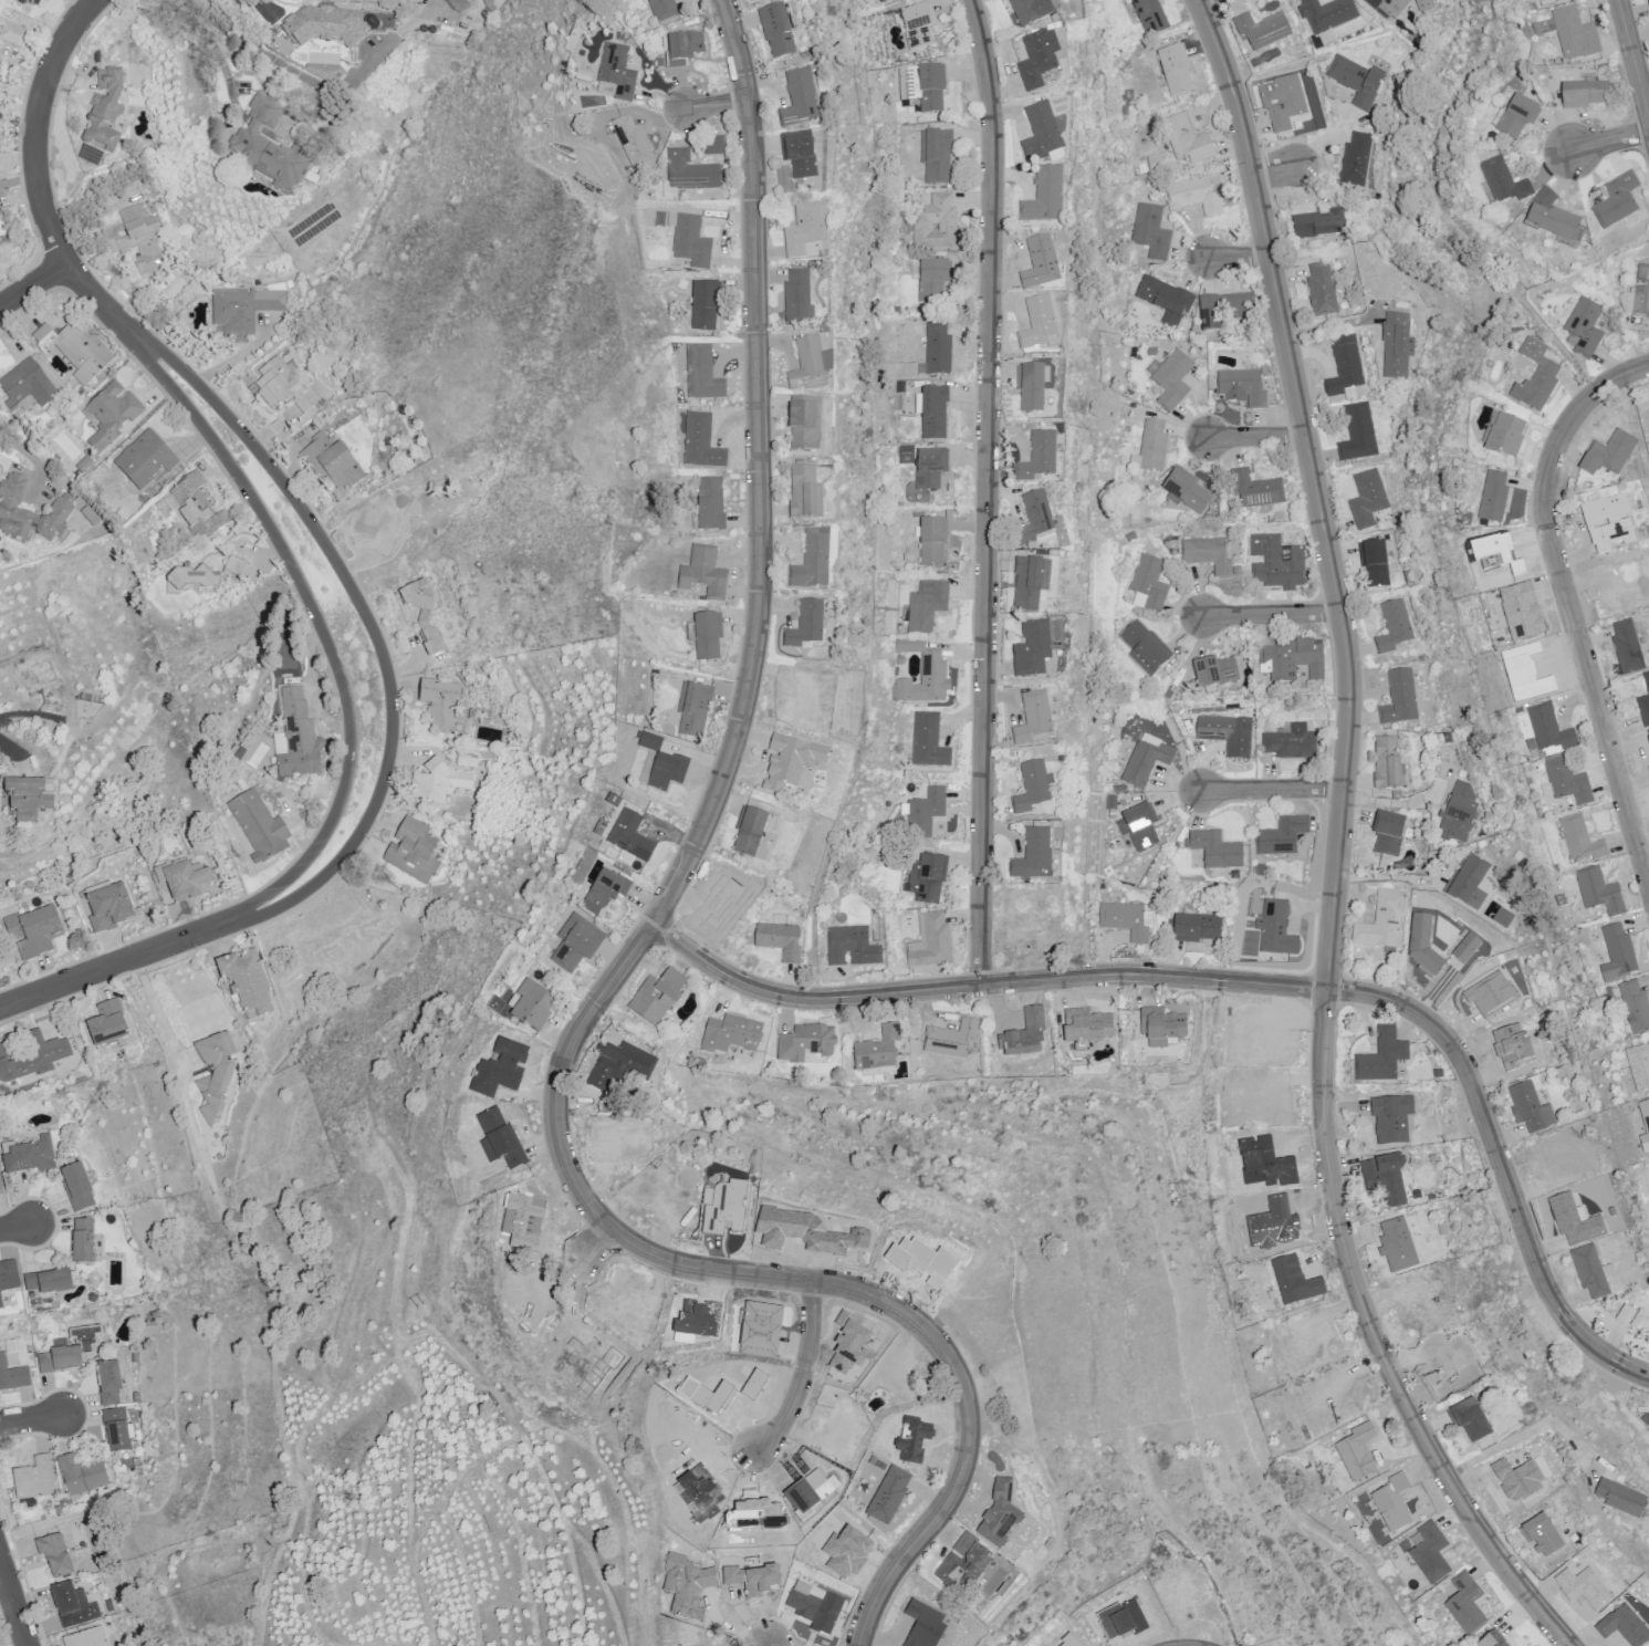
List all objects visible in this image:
building: (752, 0)
building: (874, 0)
building: (1544, 0)
building: (885, 1)
building: (1648, 1)
building: (29, 2)
road: (1203, 2)
building: (1427, 4)
building: (1390, 7)
building: (662, 9)
building: (1033, 11)
building: (1326, 14)
building: (1150, 15)
building: (917, 25)
building: (1544, 27)
building: (1262, 30)
building: (776, 31)
building: (325, 32)
building: (12, 35)
building: (1578, 35)
building: (620, 37)
building: (683, 49)
road: (1632, 60)
building: (1039, 61)
road: (283, 63)
building: (659, 63)
building: (1255, 63)
building: (617, 71)
building: (1175, 72)
building: (324, 74)
building: (1356, 80)
building: (922, 87)
road: (21, 91)
building: (1585, 94)
building: (800, 100)
building: (1283, 101)
road: (717, 108)
building: (104, 117)
building: (1517, 117)
building: (1041, 134)
building: (1188, 139)
road: (1609, 139)
building: (633, 144)
building: (710, 145)
building: (269, 149)
building: (936, 155)
building: (801, 157)
building: (1356, 159)
building: (1156, 163)
road: (1273, 168)
building: (690, 171)
building: (1504, 181)
road: (18, 183)
road: (38, 183)
building: (1193, 196)
building: (1045, 198)
building: (1617, 201)
building: (1552, 219)
building: (935, 223)
building: (1319, 223)
building: (804, 229)
building: (1150, 229)
building: (690, 239)
building: (136, 246)
road: (1238, 252)
building: (1041, 264)
building: (651, 269)
building: (932, 280)
road: (32, 282)
building: (654, 282)
building: (1322, 289)
building: (1643, 292)
building: (799, 298)
building: (1166, 300)
building: (705, 306)
building: (896, 306)
building: (1225, 310)
building: (242, 314)
building: (1039, 325)
building: (1585, 326)
building: (1397, 344)
building: (938, 347)
building: (1152, 351)
building: (75, 352)
building: (791, 363)
building: (811, 366)
building: (1345, 366)
building: (702, 375)
building: (1536, 376)
building: (1172, 381)
building: (28, 385)
building: (282, 386)
building: (1243, 387)
building: (1031, 389)
building: (933, 413)
building: (112, 417)
building: (805, 423)
building: (1358, 433)
building: (1505, 436)
road: (1256, 437)
building: (702, 444)
building: (1152, 446)
road: (25, 449)
building: (908, 451)
building: (1608, 454)
building: (1039, 458)
building: (143, 461)
building: (331, 463)
building: (930, 468)
building: (1186, 489)
building: (1253, 490)
road: (985, 491)
building: (805, 493)
building: (1493, 496)
building: (1368, 498)
building: (710, 504)
building: (194, 508)
building: (62, 510)
building: (87, 514)
building: (1034, 521)
building: (375, 525)
building: (1130, 535)
building: (932, 541)
building: (1209, 555)
building: (813, 561)
building: (1277, 561)
building: (1374, 563)
building: (703, 573)
building: (200, 580)
building: (1031, 584)
building: (1149, 584)
road: (1569, 601)
building: (927, 607)
road: (1272, 613)
building: (422, 618)
road: (368, 623)
road: (319, 624)
building: (806, 626)
building: (1395, 628)
building: (708, 636)
building: (1146, 647)
building: (1627, 647)
building: (1033, 649)
building: (1292, 660)
building: (1215, 671)
building: (922, 674)
building: (1181, 687)
building: (1171, 694)
building: (1400, 698)
building: (1645, 702)
building: (693, 709)
building: (467, 710)
building: (1034, 720)
building: (1553, 730)
building: (1228, 733)
building: (1448, 737)
building: (295, 738)
building: (650, 741)
building: (928, 741)
road: (8, 744)
building: (1294, 744)
building: (1145, 762)
building: (1390, 764)
building: (667, 771)
building: (1570, 783)
building: (436, 784)
building: (1033, 788)
road: (1272, 788)
building: (1399, 795)
building: (27, 802)
building: (1111, 802)
building: (928, 811)
building: (1461, 815)
building: (1139, 827)
building: (259, 831)
building: (749, 831)
building: (1388, 832)
building: (1282, 835)
building: (630, 836)
building: (1584, 842)
road: (1338, 846)
building: (1215, 850)
building: (414, 851)
building: (1033, 854)
building: (1261, 871)
building: (928, 878)
road: (1391, 879)
building: (1468, 883)
building: (182, 884)
building: (603, 892)
building: (1599, 892)
building: (105, 909)
building: (1124, 920)
building: (1382, 920)
building: (1509, 925)
building: (1193, 928)
building: (1275, 928)
building: (32, 930)
building: (779, 939)
building: (932, 941)
building: (576, 942)
building: (850, 946)
building: (1618, 955)
road: (119, 959)
road: (627, 962)
building: (247, 985)
road: (1248, 985)
building: (1613, 993)
building: (657, 996)
road: (157, 1000)
building: (1637, 1006)
building: (532, 1007)
building: (105, 1023)
building: (1161, 1027)
building: (731, 1034)
building: (951, 1040)
building: (807, 1042)
building: (1021, 1042)
building: (877, 1050)
building: (1382, 1056)
building: (33, 1058)
building: (619, 1065)
building: (1640, 1065)
building: (1562, 1073)
building: (213, 1080)
building: (1533, 1108)
building: (1389, 1117)
building: (1429, 1131)
building: (500, 1142)
building: (27, 1154)
building: (1386, 1184)
building: (75, 1186)
building: (0, 1191)
building: (724, 1209)
road: (14, 1223)
building: (81, 1240)
road: (598, 1246)
building: (1594, 1272)
building: (8, 1278)
building: (46, 1281)
building: (0, 1304)
building: (1636, 1320)
building: (69, 1348)
road: (808, 1369)
building: (12, 1375)
building: (107, 1381)
road: (30, 1416)
building: (1473, 1421)
building: (114, 1428)
road: (1525, 1431)
building: (1359, 1452)
building: (869, 1458)
building: (79, 1473)
building: (33, 1478)
building: (890, 1496)
building: (1624, 1498)
building: (1392, 1511)
building: (1002, 1520)
building: (1430, 1553)
building: (54, 1558)
building: (962, 1562)
building: (1589, 1587)
road: (13, 1602)
building: (1465, 1603)
building: (812, 1606)
building: (72, 1607)
building: (956, 1622)
building: (1626, 1627)
building: (86, 1638)
building: (1492, 1640)
road: (768, 1644)
road: (771, 1644)

